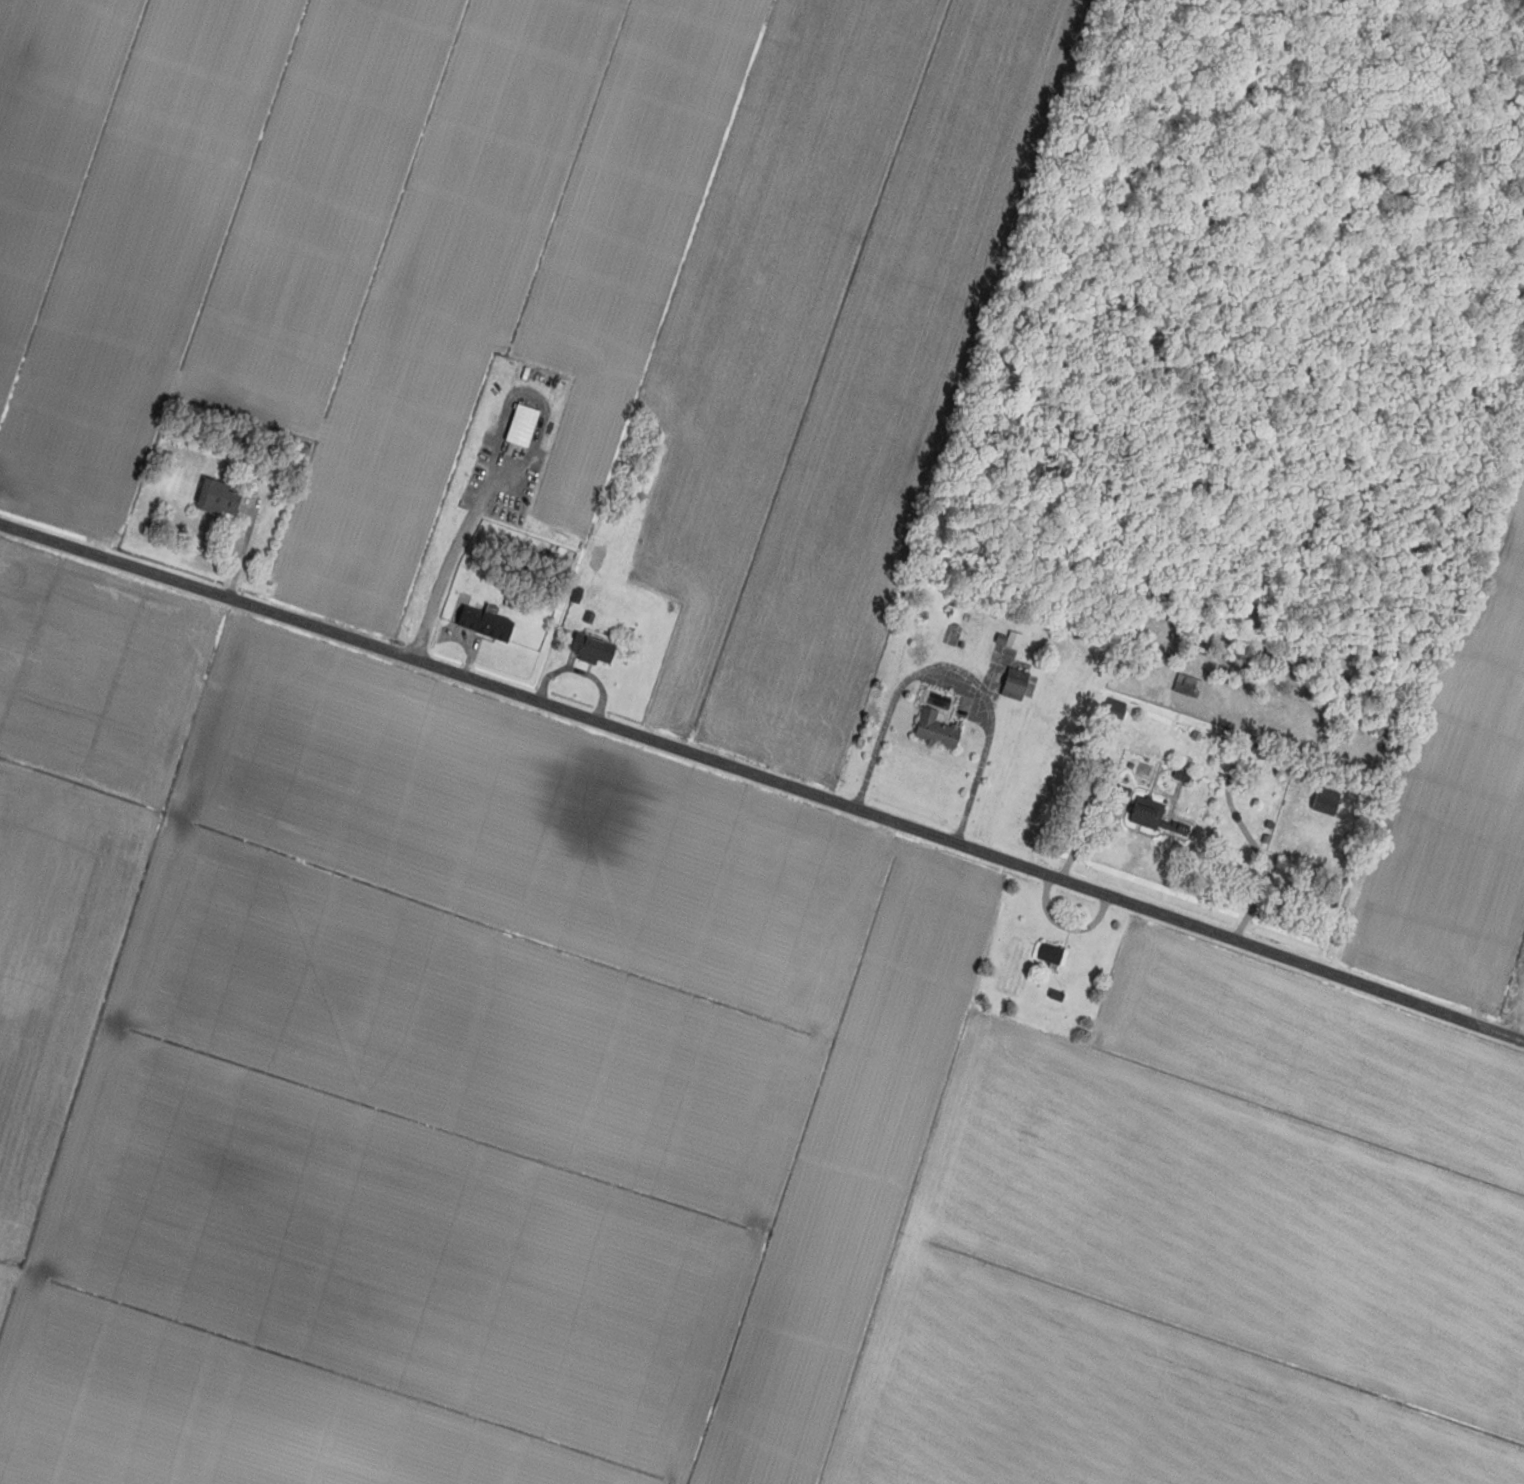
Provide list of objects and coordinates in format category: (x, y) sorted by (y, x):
building: (520, 425)
building: (215, 498)
building: (482, 623)
building: (1008, 640)
building: (590, 649)
road: (950, 674)
building: (1012, 683)
building: (1186, 686)
building: (1113, 708)
building: (933, 730)
road: (768, 780)
building: (1117, 799)
building: (1324, 801)
building: (1153, 817)
building: (1048, 954)

